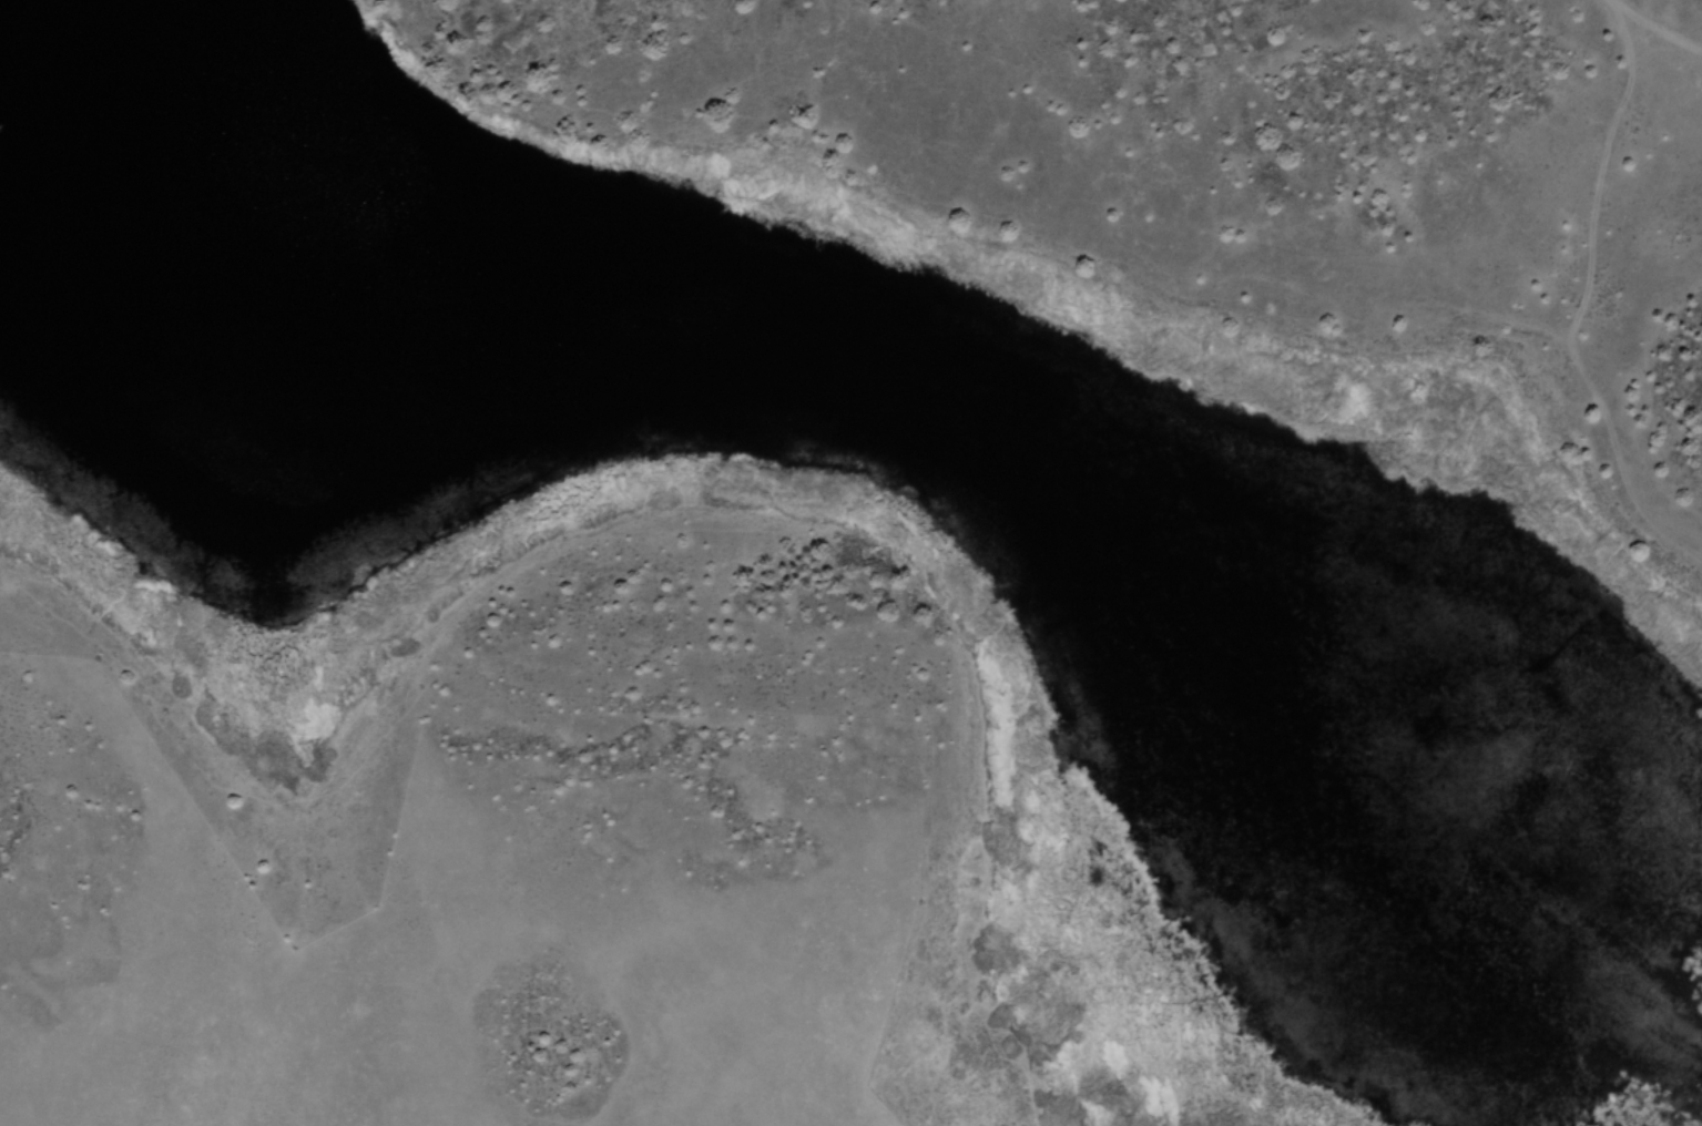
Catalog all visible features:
road: (1660, 25)

